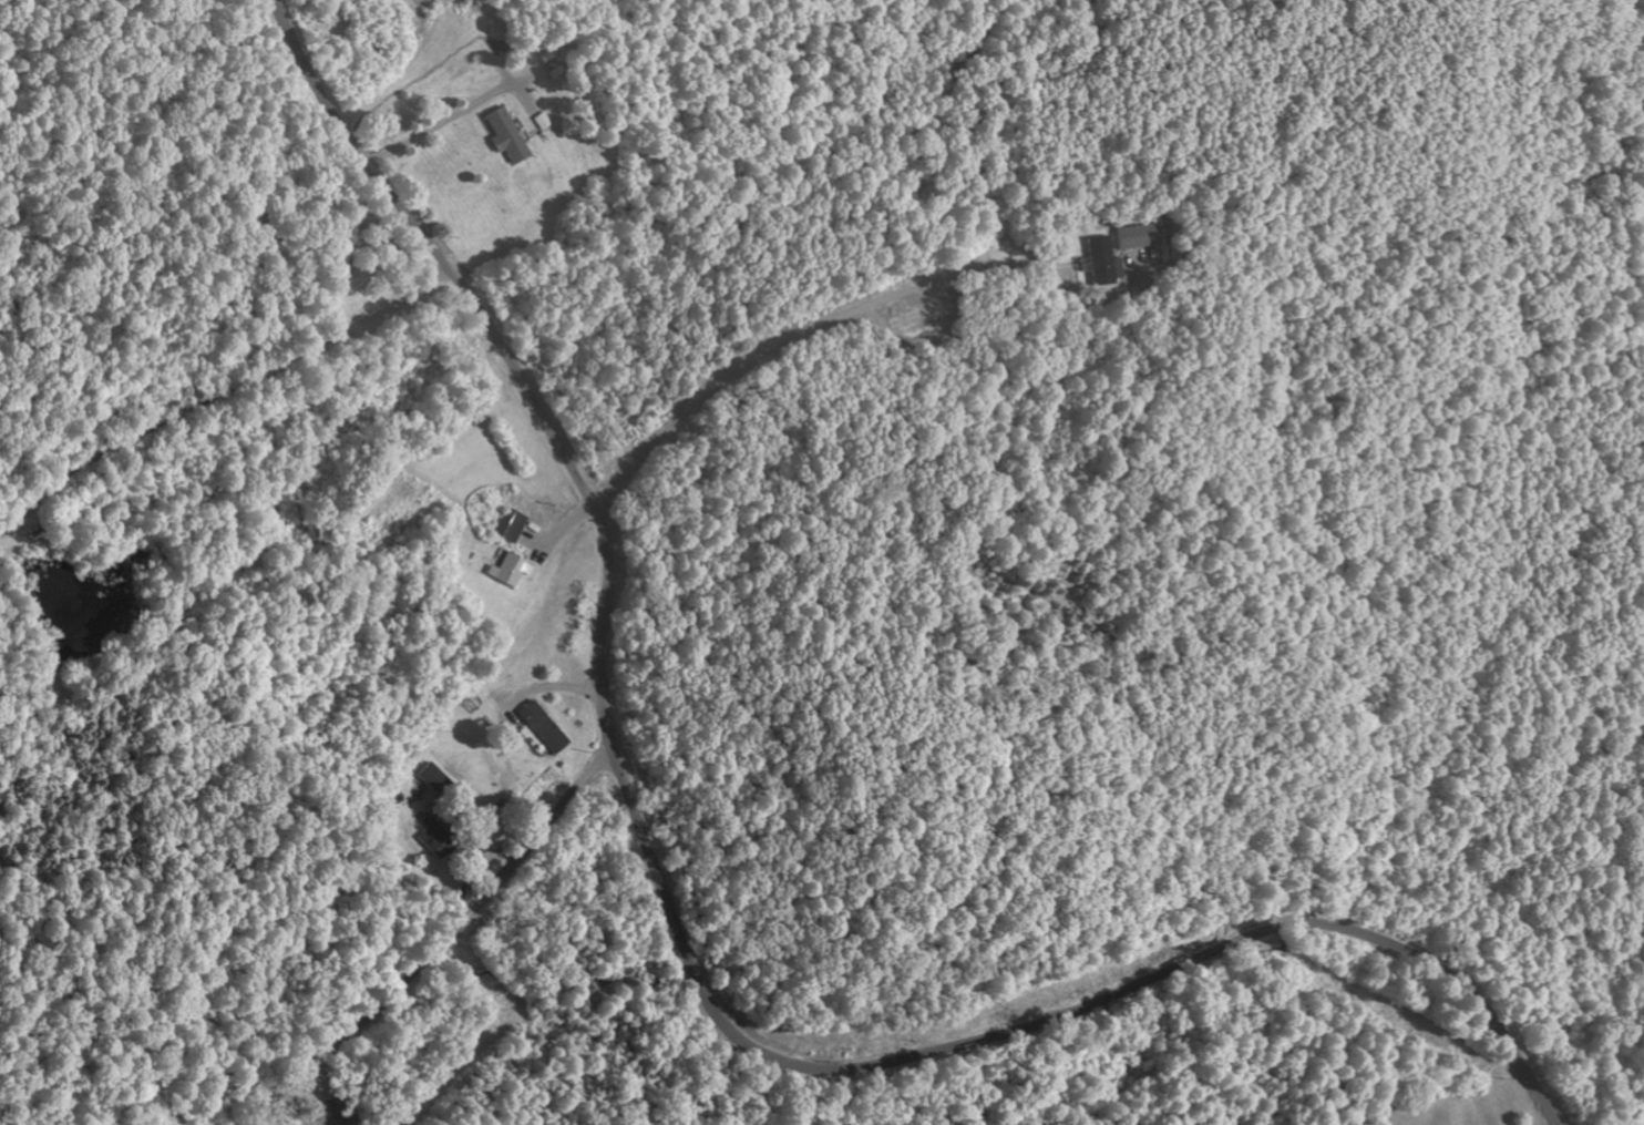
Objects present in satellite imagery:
building: (502, 134)
building: (1137, 236)
building: (1101, 260)
road: (223, 377)
building: (510, 524)
building: (507, 570)
building: (542, 726)
building: (432, 777)
road: (448, 929)
road: (681, 942)
road: (289, 1108)

